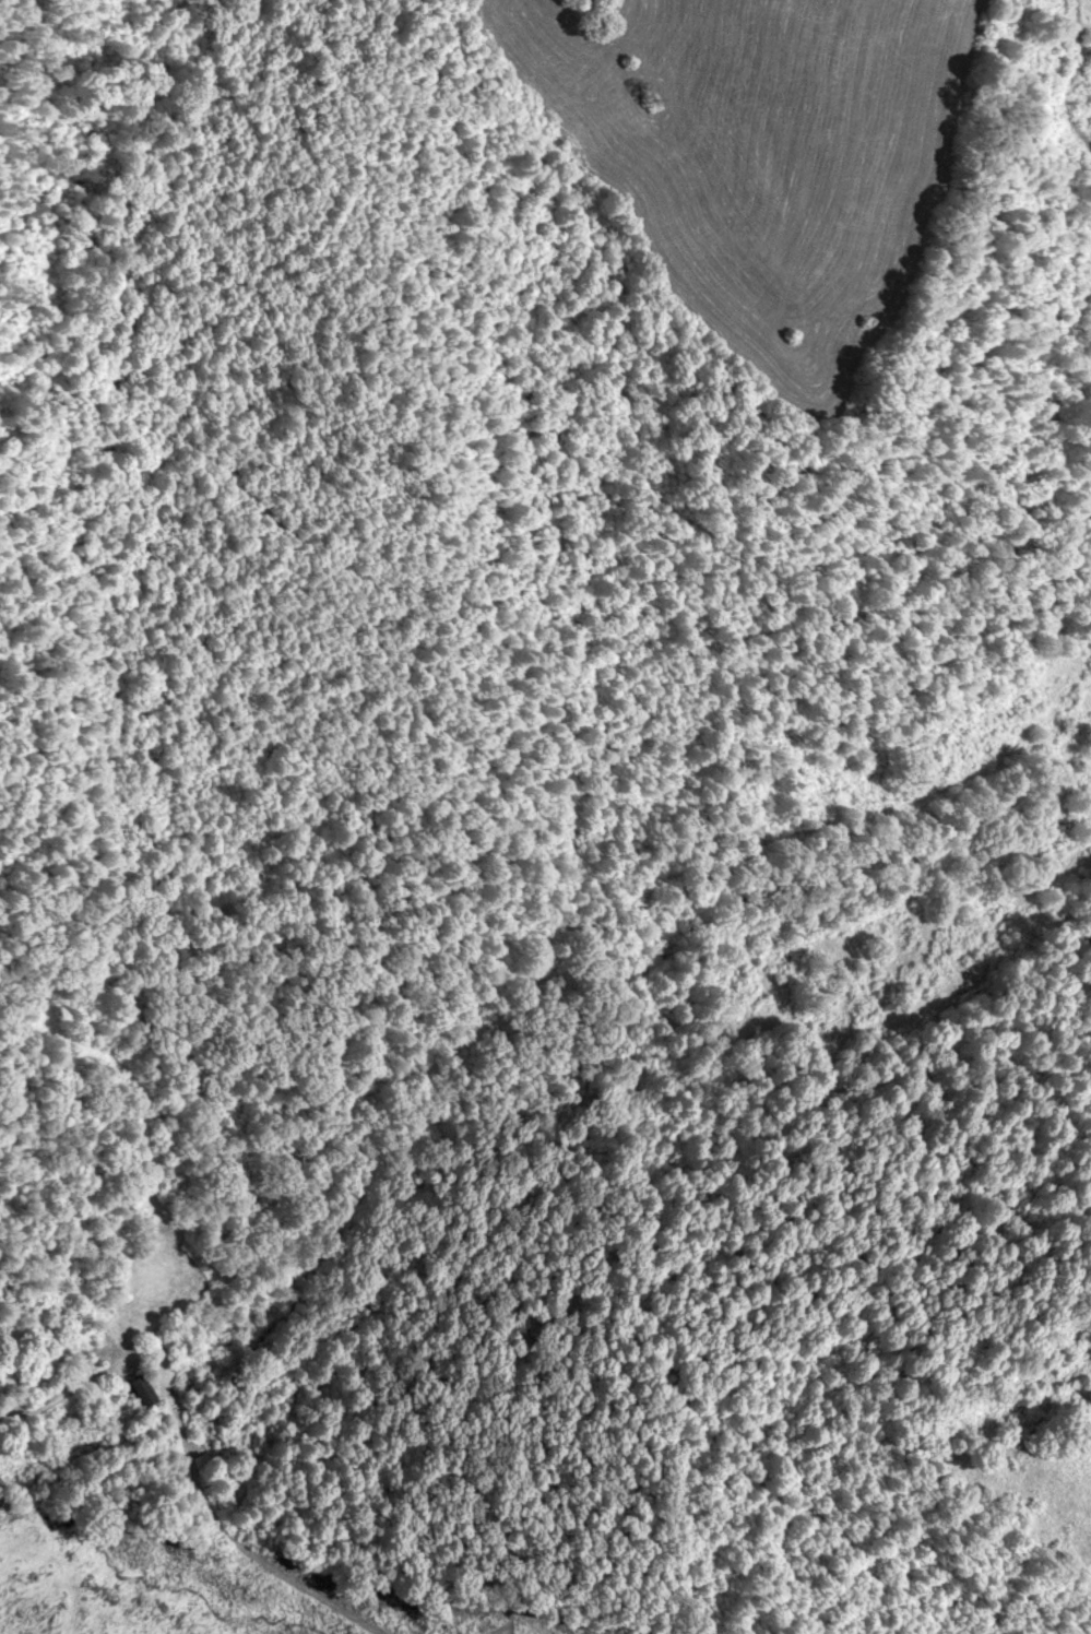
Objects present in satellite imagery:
building: (147, 1394)

